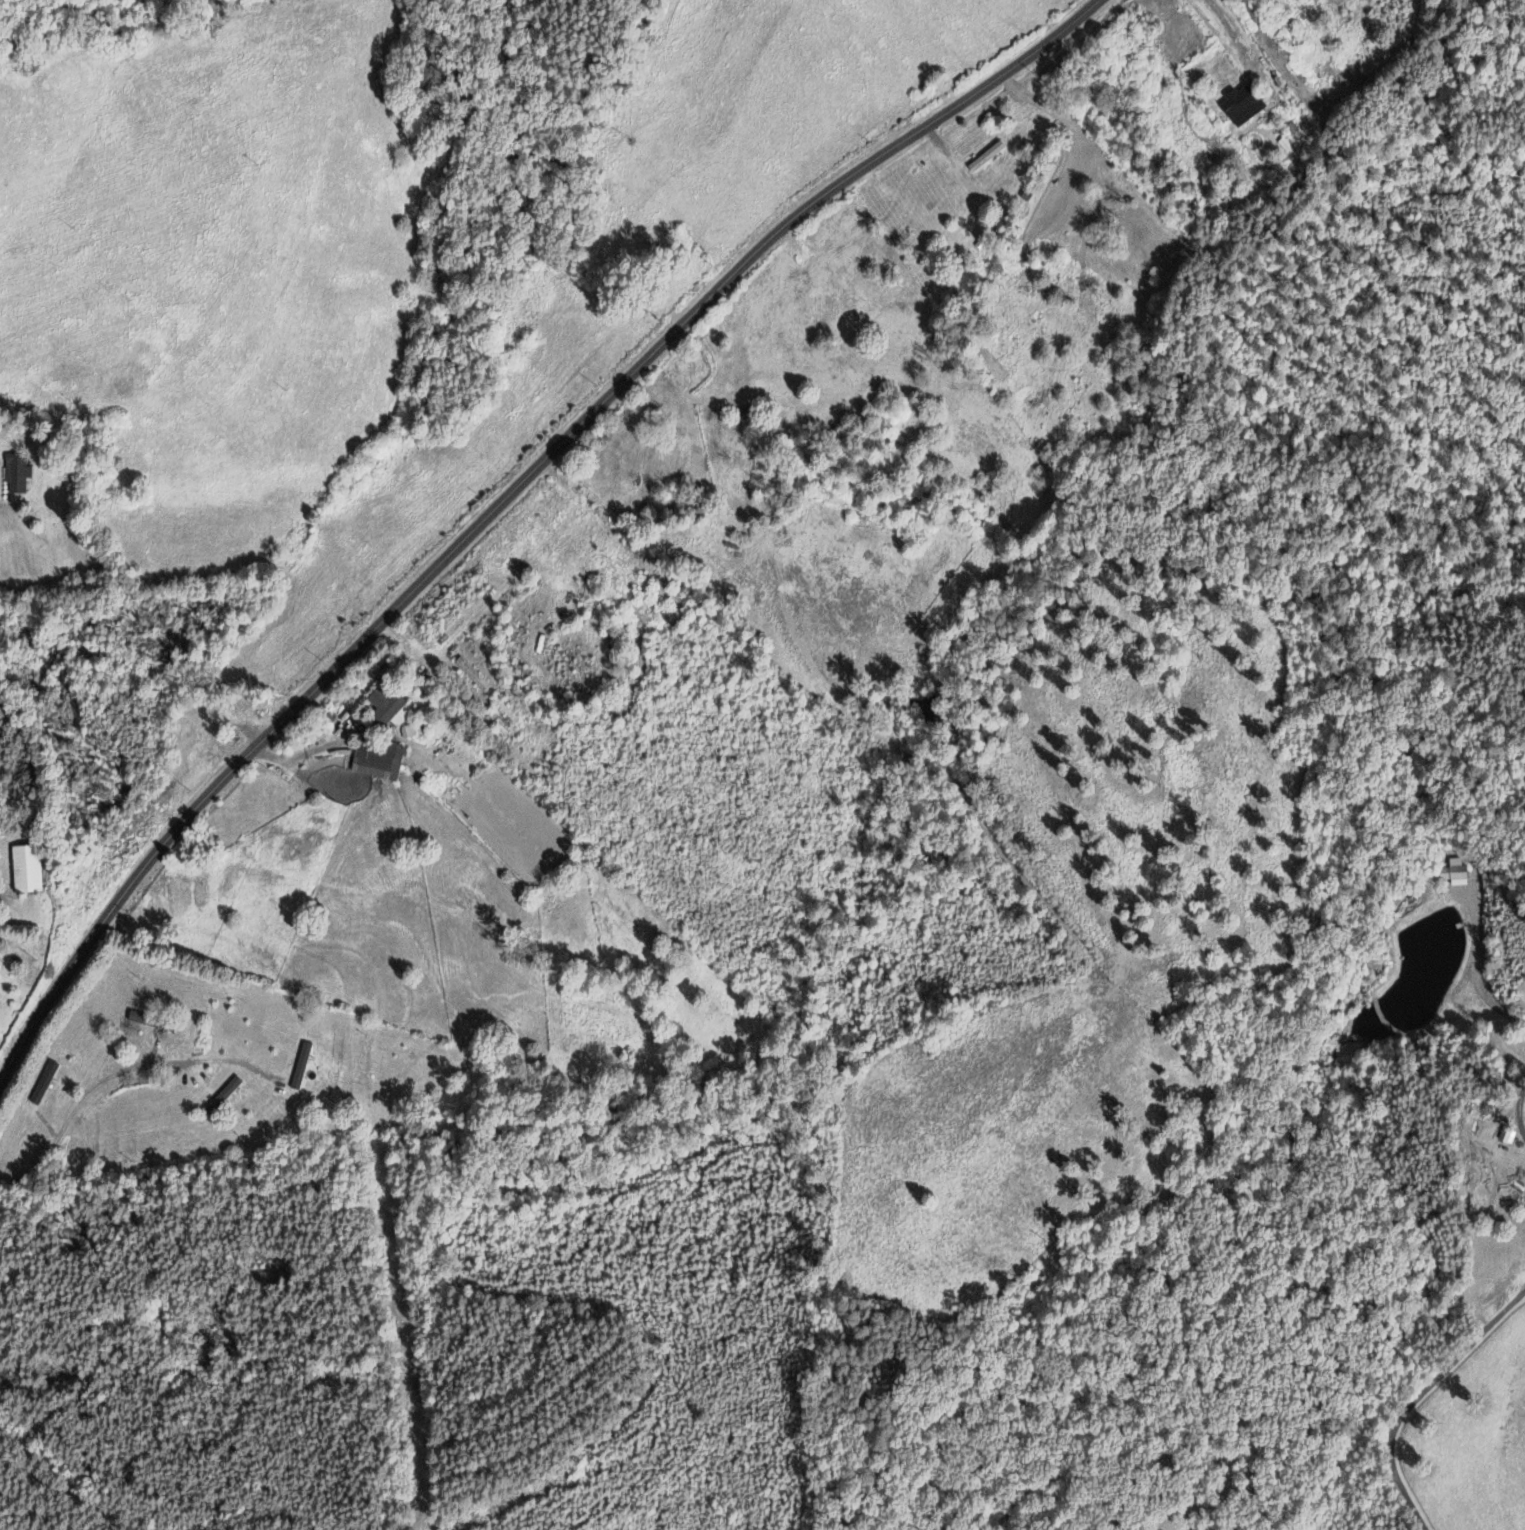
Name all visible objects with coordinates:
road: (1231, 29)
building: (1247, 105)
building: (990, 157)
building: (19, 474)
road: (505, 495)
building: (390, 706)
building: (382, 762)
building: (29, 868)
building: (1457, 873)
road: (1476, 973)
building: (0, 988)
building: (304, 1066)
road: (105, 1079)
building: (46, 1083)
building: (225, 1096)
road: (1520, 1112)
building: (1510, 1136)
road: (1416, 1393)

